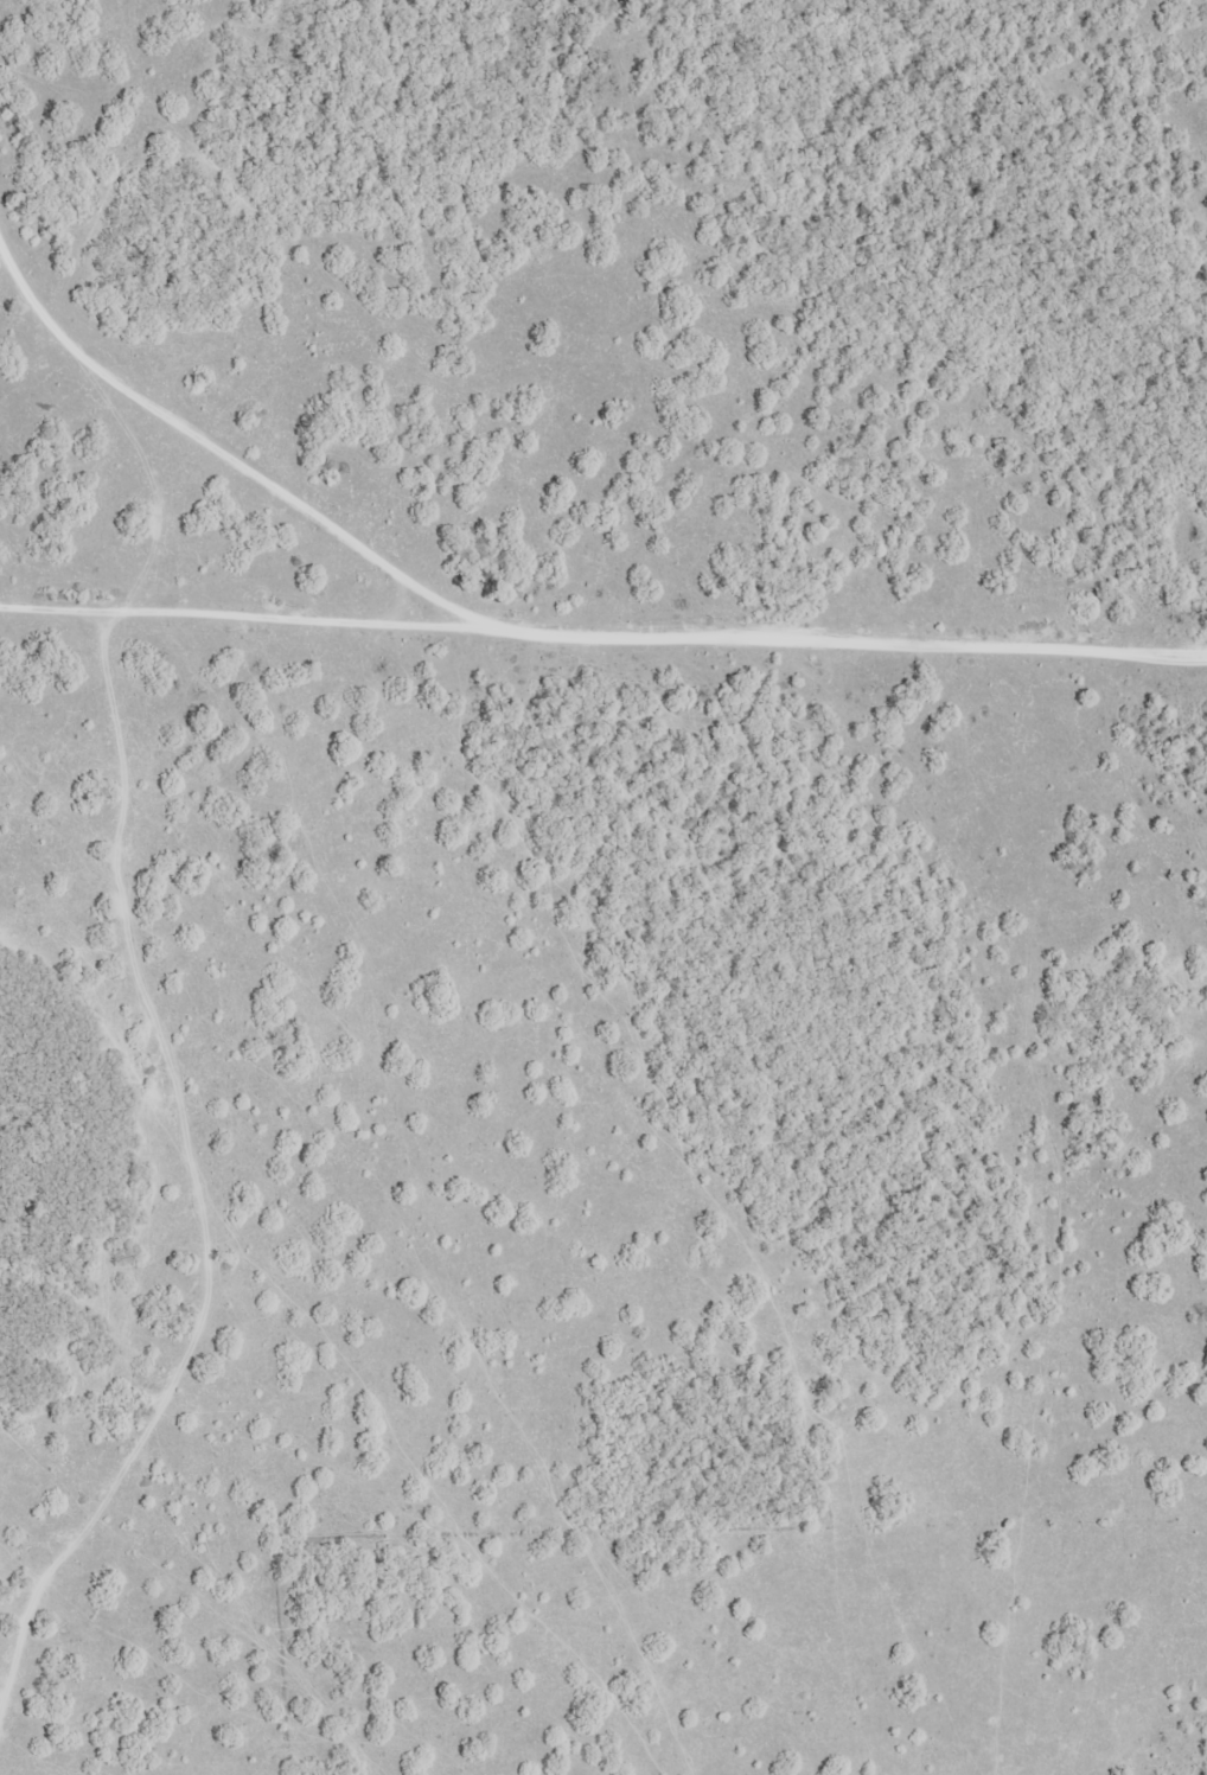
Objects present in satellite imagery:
road: (5, 336)
road: (132, 344)
road: (603, 621)
road: (229, 1233)

